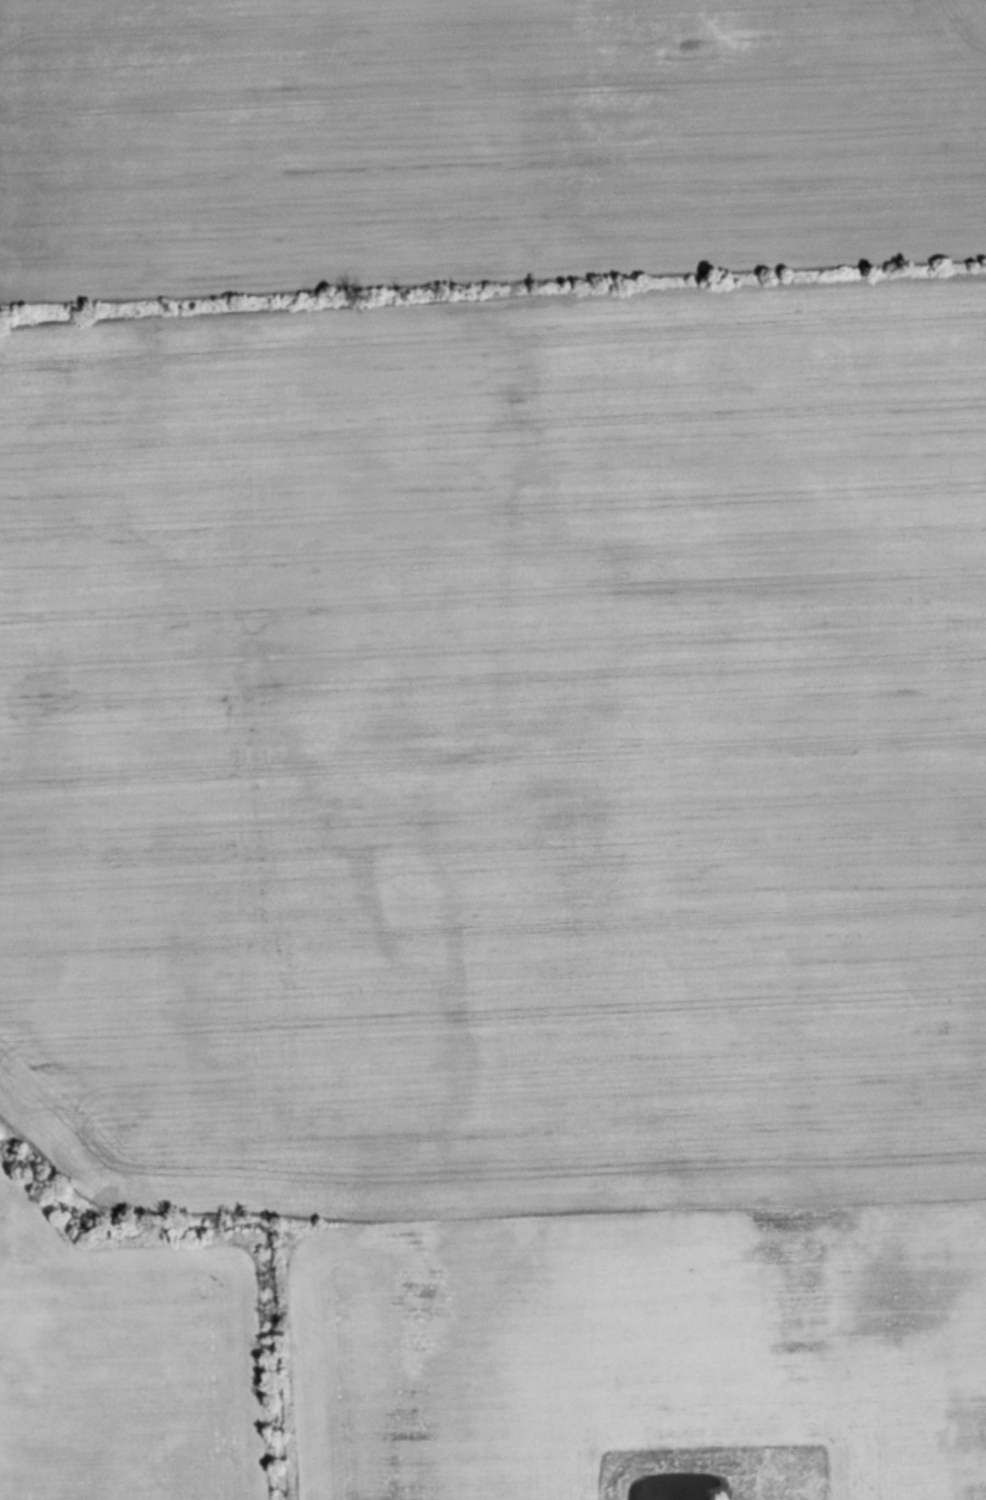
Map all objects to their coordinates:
crop: (524, 846)

